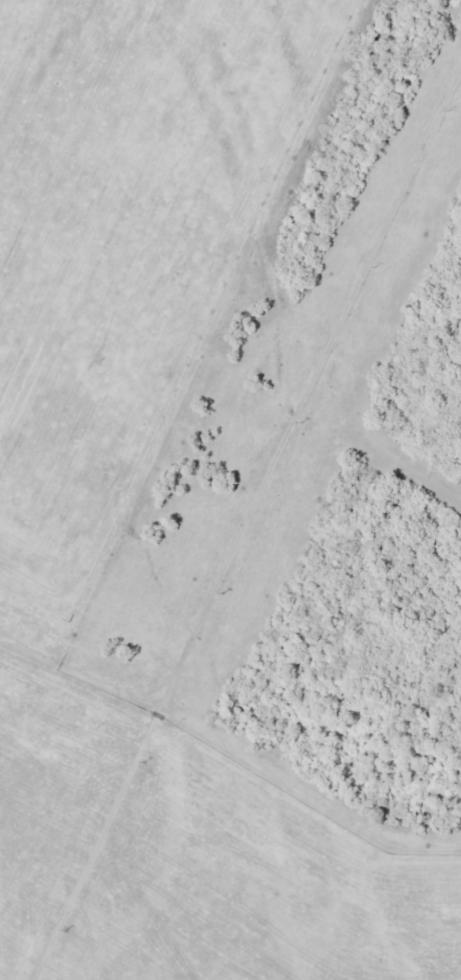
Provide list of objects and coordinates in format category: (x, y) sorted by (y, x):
road: (247, 427)

